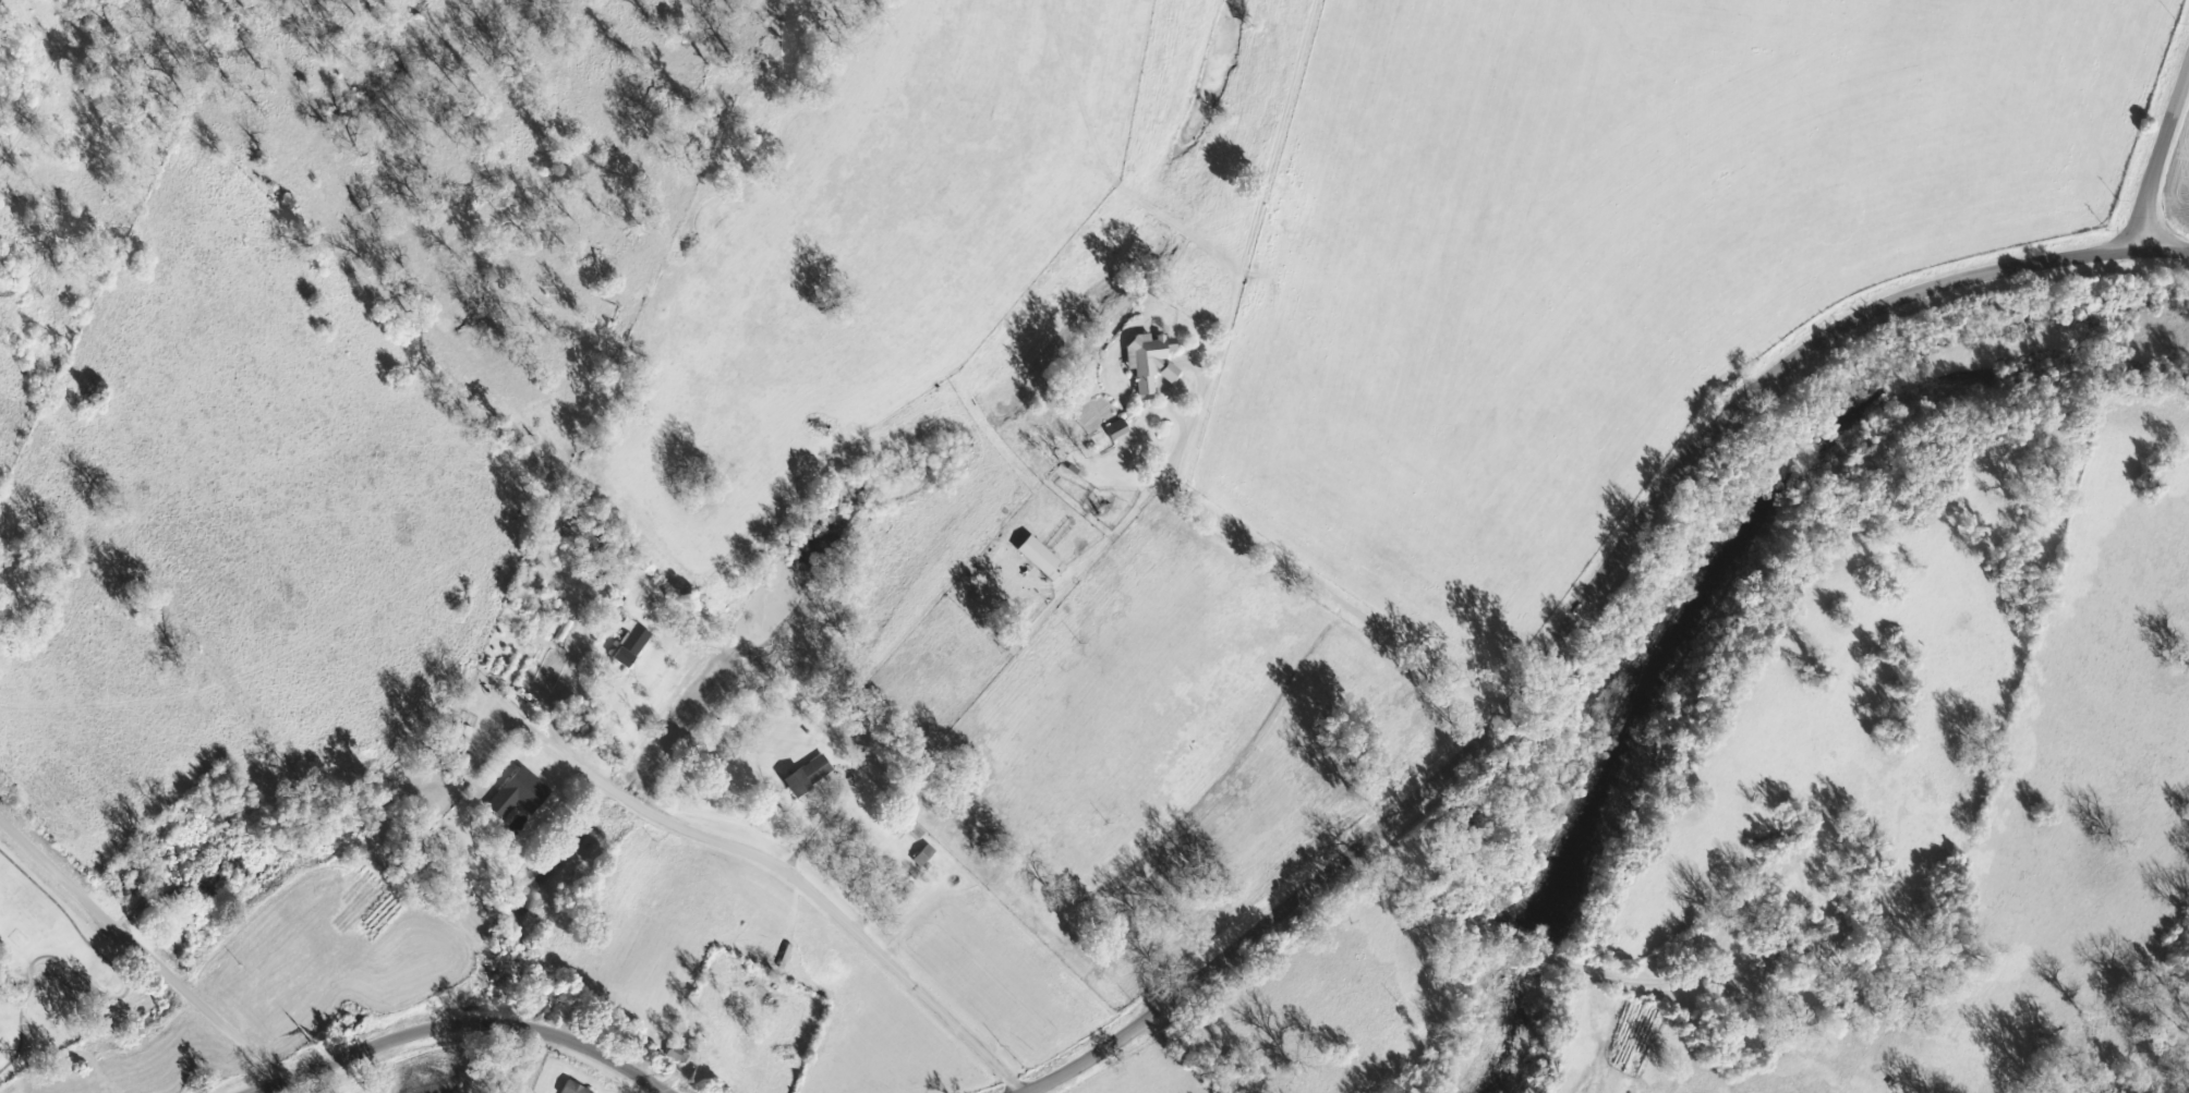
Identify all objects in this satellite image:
road: (2162, 153)
building: (1148, 362)
building: (1115, 430)
building: (559, 521)
building: (1038, 559)
road: (1291, 572)
road: (1582, 605)
building: (630, 647)
road: (553, 692)
building: (462, 732)
building: (806, 775)
building: (518, 794)
building: (912, 829)
building: (923, 857)
road: (810, 891)
road: (137, 950)
park: (55, 969)
road: (458, 1025)
building: (573, 1089)

